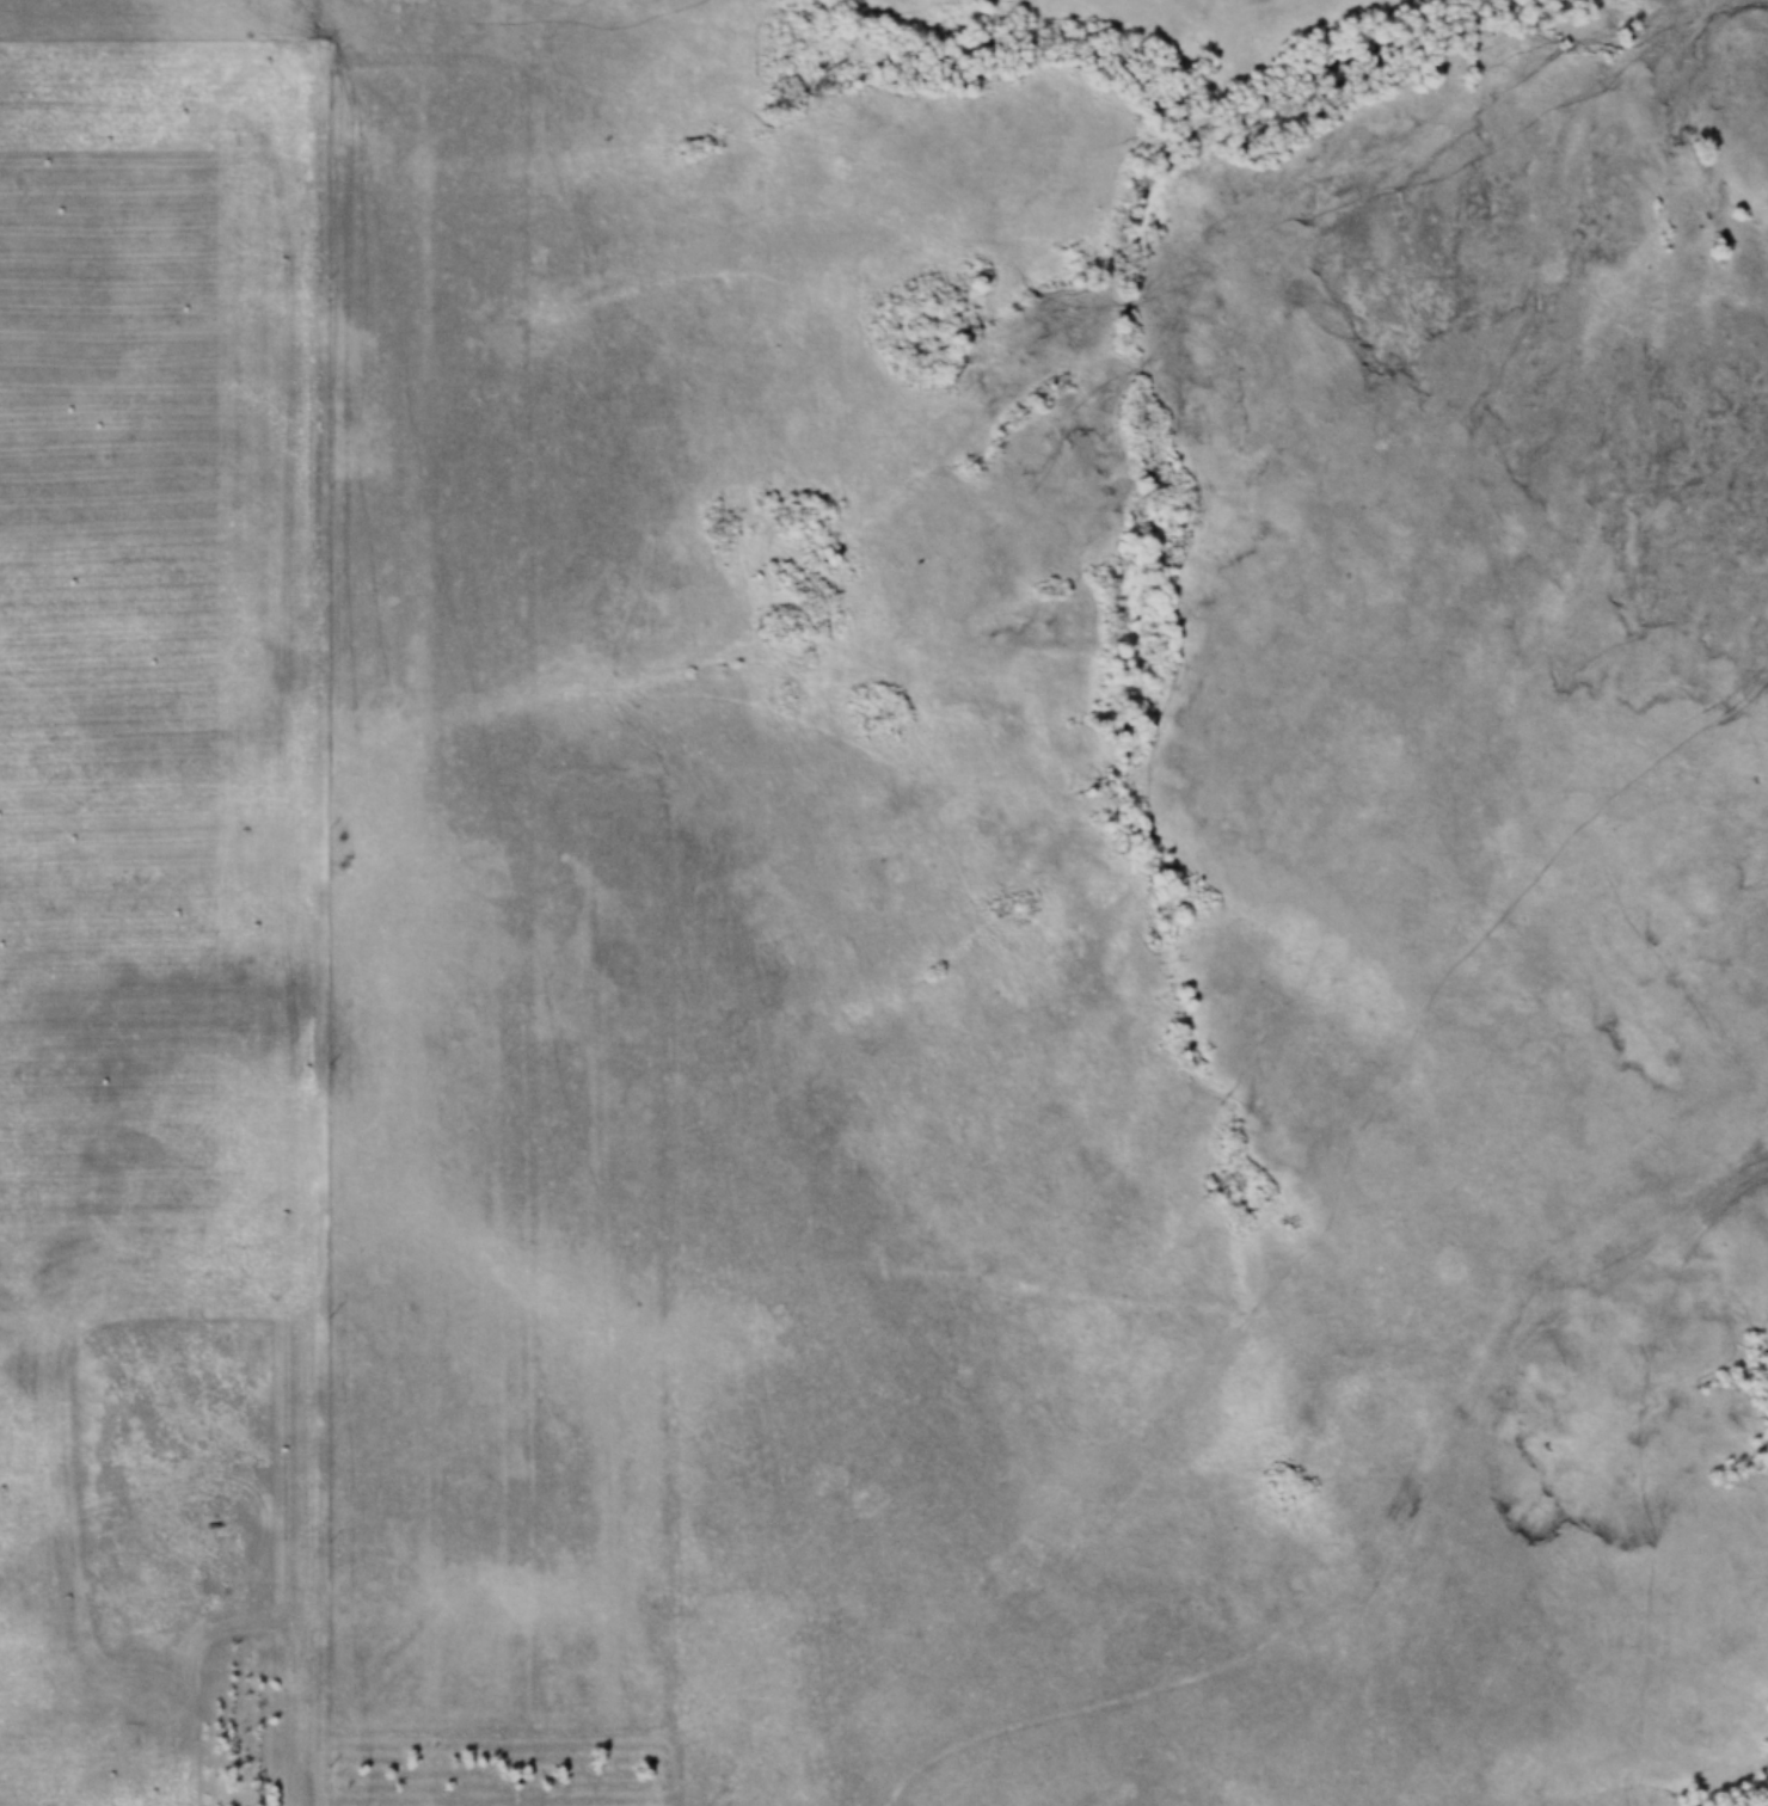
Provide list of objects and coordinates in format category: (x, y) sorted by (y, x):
road: (302, 1038)
road: (1368, 1555)

